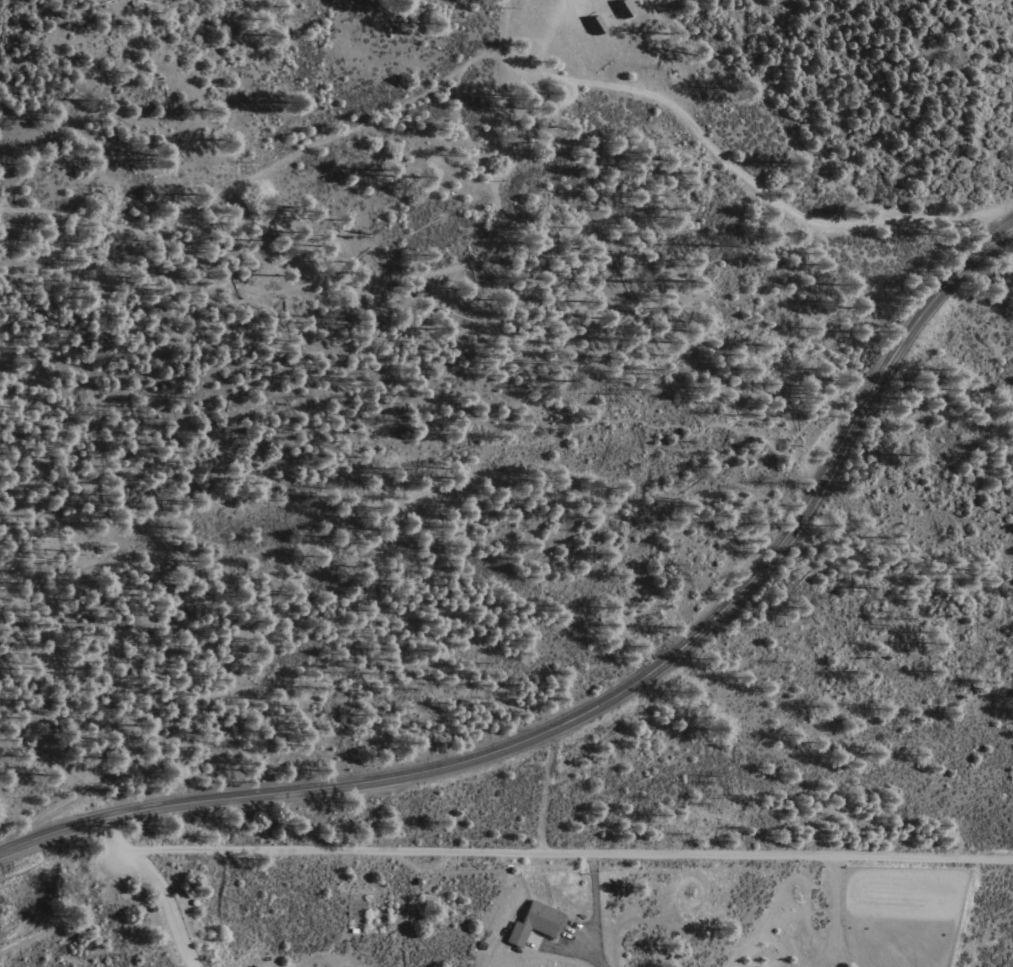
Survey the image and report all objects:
building: (623, 7)
road: (723, 155)
road: (242, 184)
road: (437, 274)
road: (417, 497)
road: (607, 700)
road: (573, 853)
road: (158, 885)
road: (76, 894)
road: (597, 911)
road: (838, 911)
building: (536, 924)
road: (827, 960)

